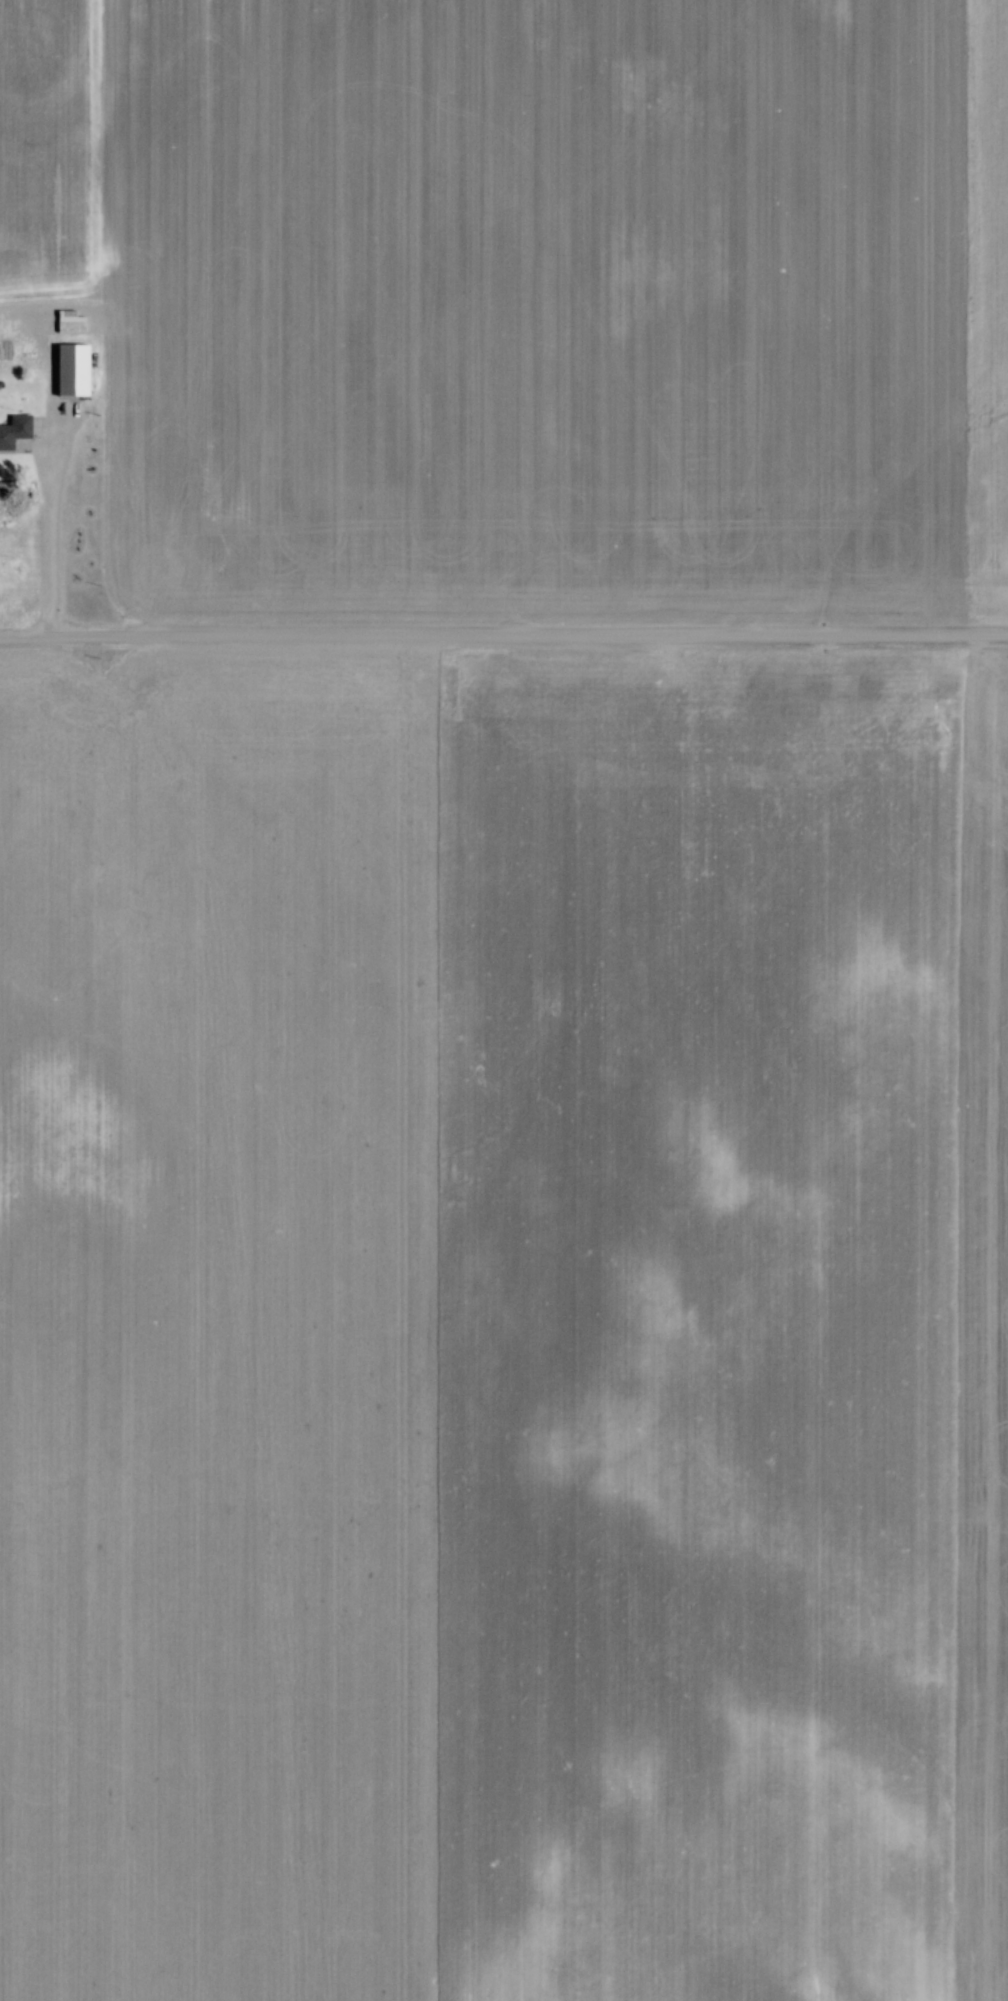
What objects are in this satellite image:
crop: (527, 303)
building: (69, 369)
building: (12, 428)
road: (46, 497)
road: (504, 641)
crop: (504, 1329)

